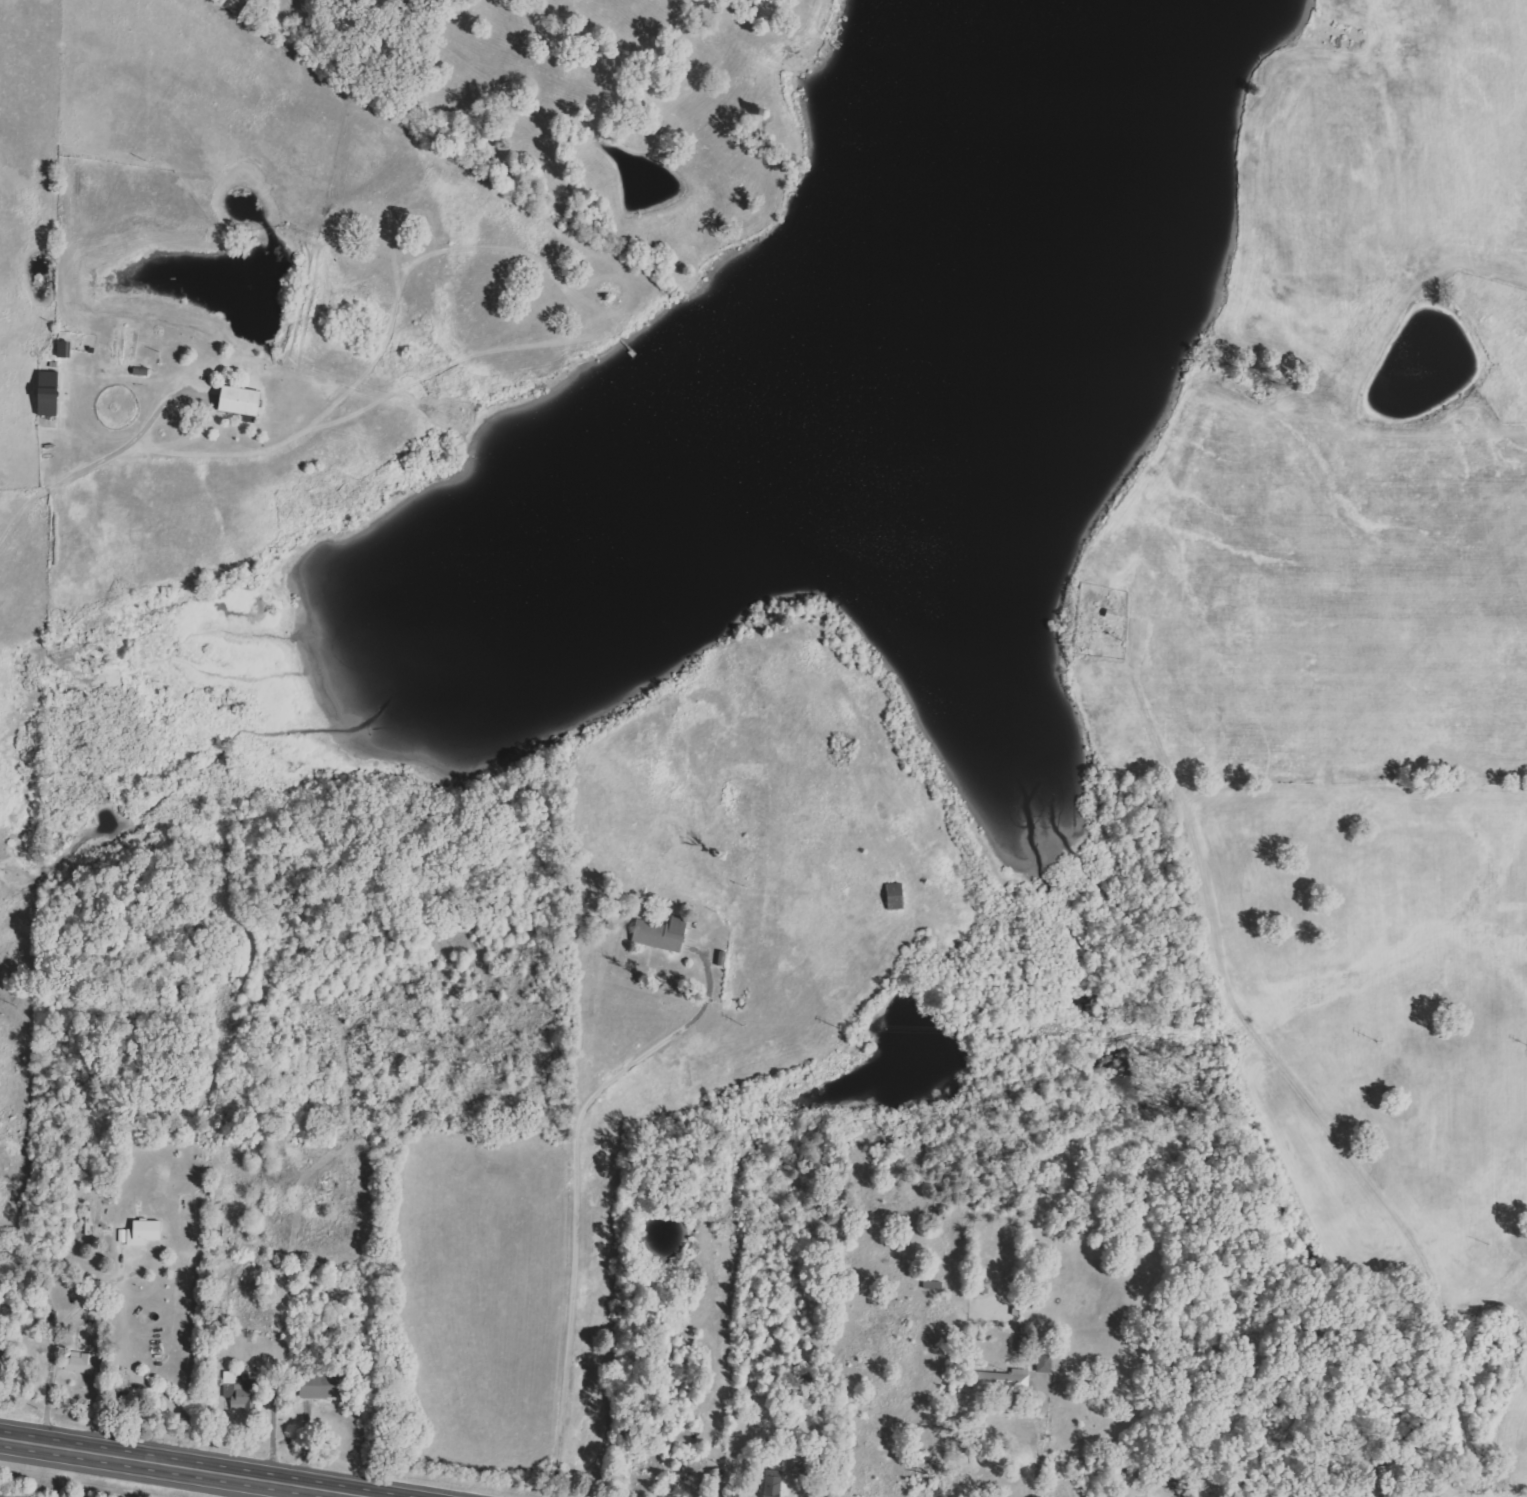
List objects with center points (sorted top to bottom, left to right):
power tower: (225, 1)
power tower: (137, 162)
power tower: (49, 326)
building: (52, 394)
building: (244, 401)
road: (96, 470)
building: (898, 897)
building: (665, 933)
road: (576, 1189)
building: (144, 1234)
road: (60, 1342)
building: (1032, 1342)
building: (84, 1364)
building: (1047, 1364)
building: (1006, 1382)
building: (322, 1387)
road: (1043, 1436)
road: (195, 1466)
building: (801, 1468)
building: (776, 1484)

